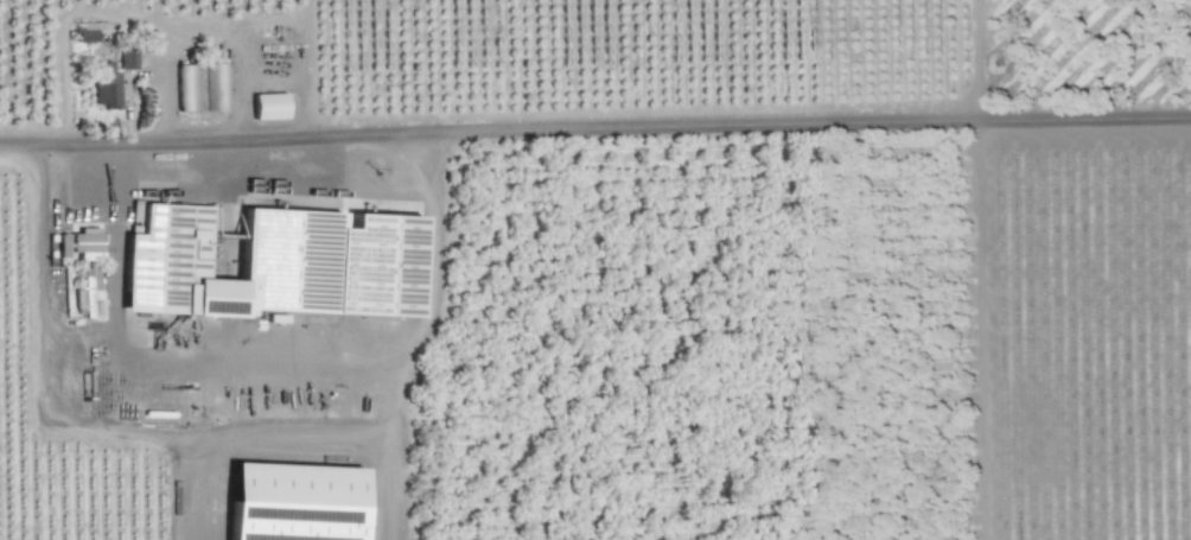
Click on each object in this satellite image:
building: (87, 31)
building: (129, 58)
building: (108, 84)
building: (217, 85)
building: (187, 87)
building: (272, 106)
road: (594, 129)
road: (101, 176)
building: (89, 242)
building: (64, 244)
building: (279, 263)
road: (113, 271)
building: (90, 292)
road: (53, 411)

